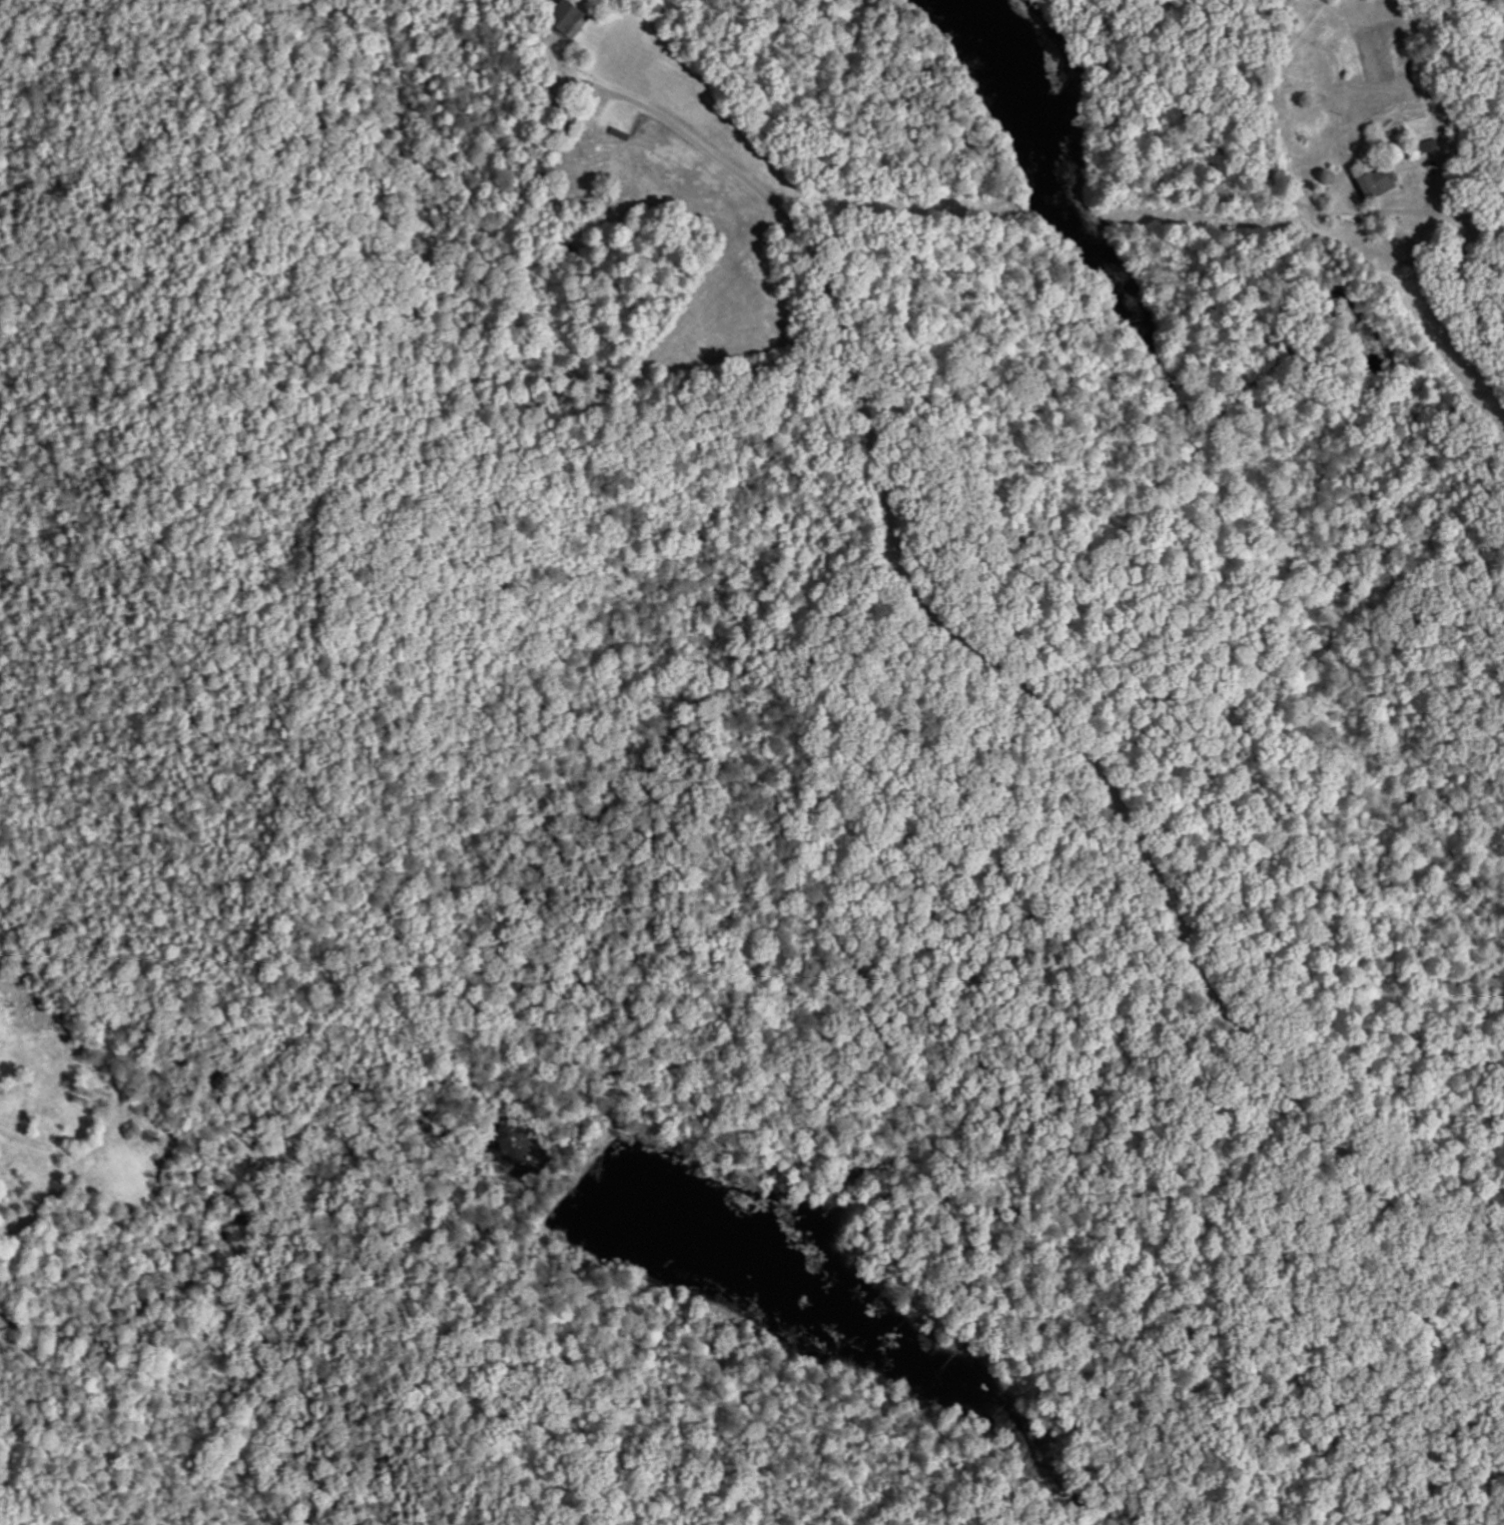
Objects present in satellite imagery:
building: (578, 18)
building: (1375, 184)
road: (1475, 232)
road: (1033, 693)

